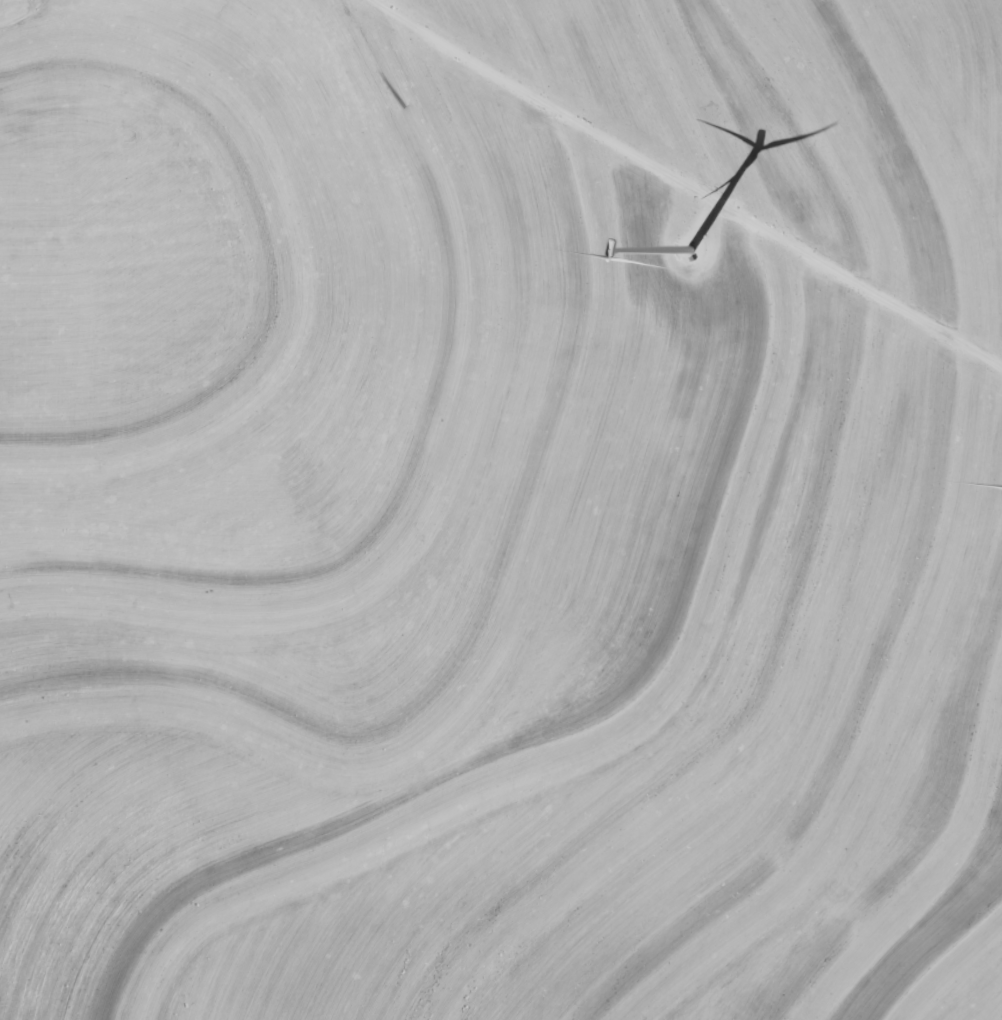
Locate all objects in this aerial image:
road: (685, 183)
wind turbine: (677, 261)

